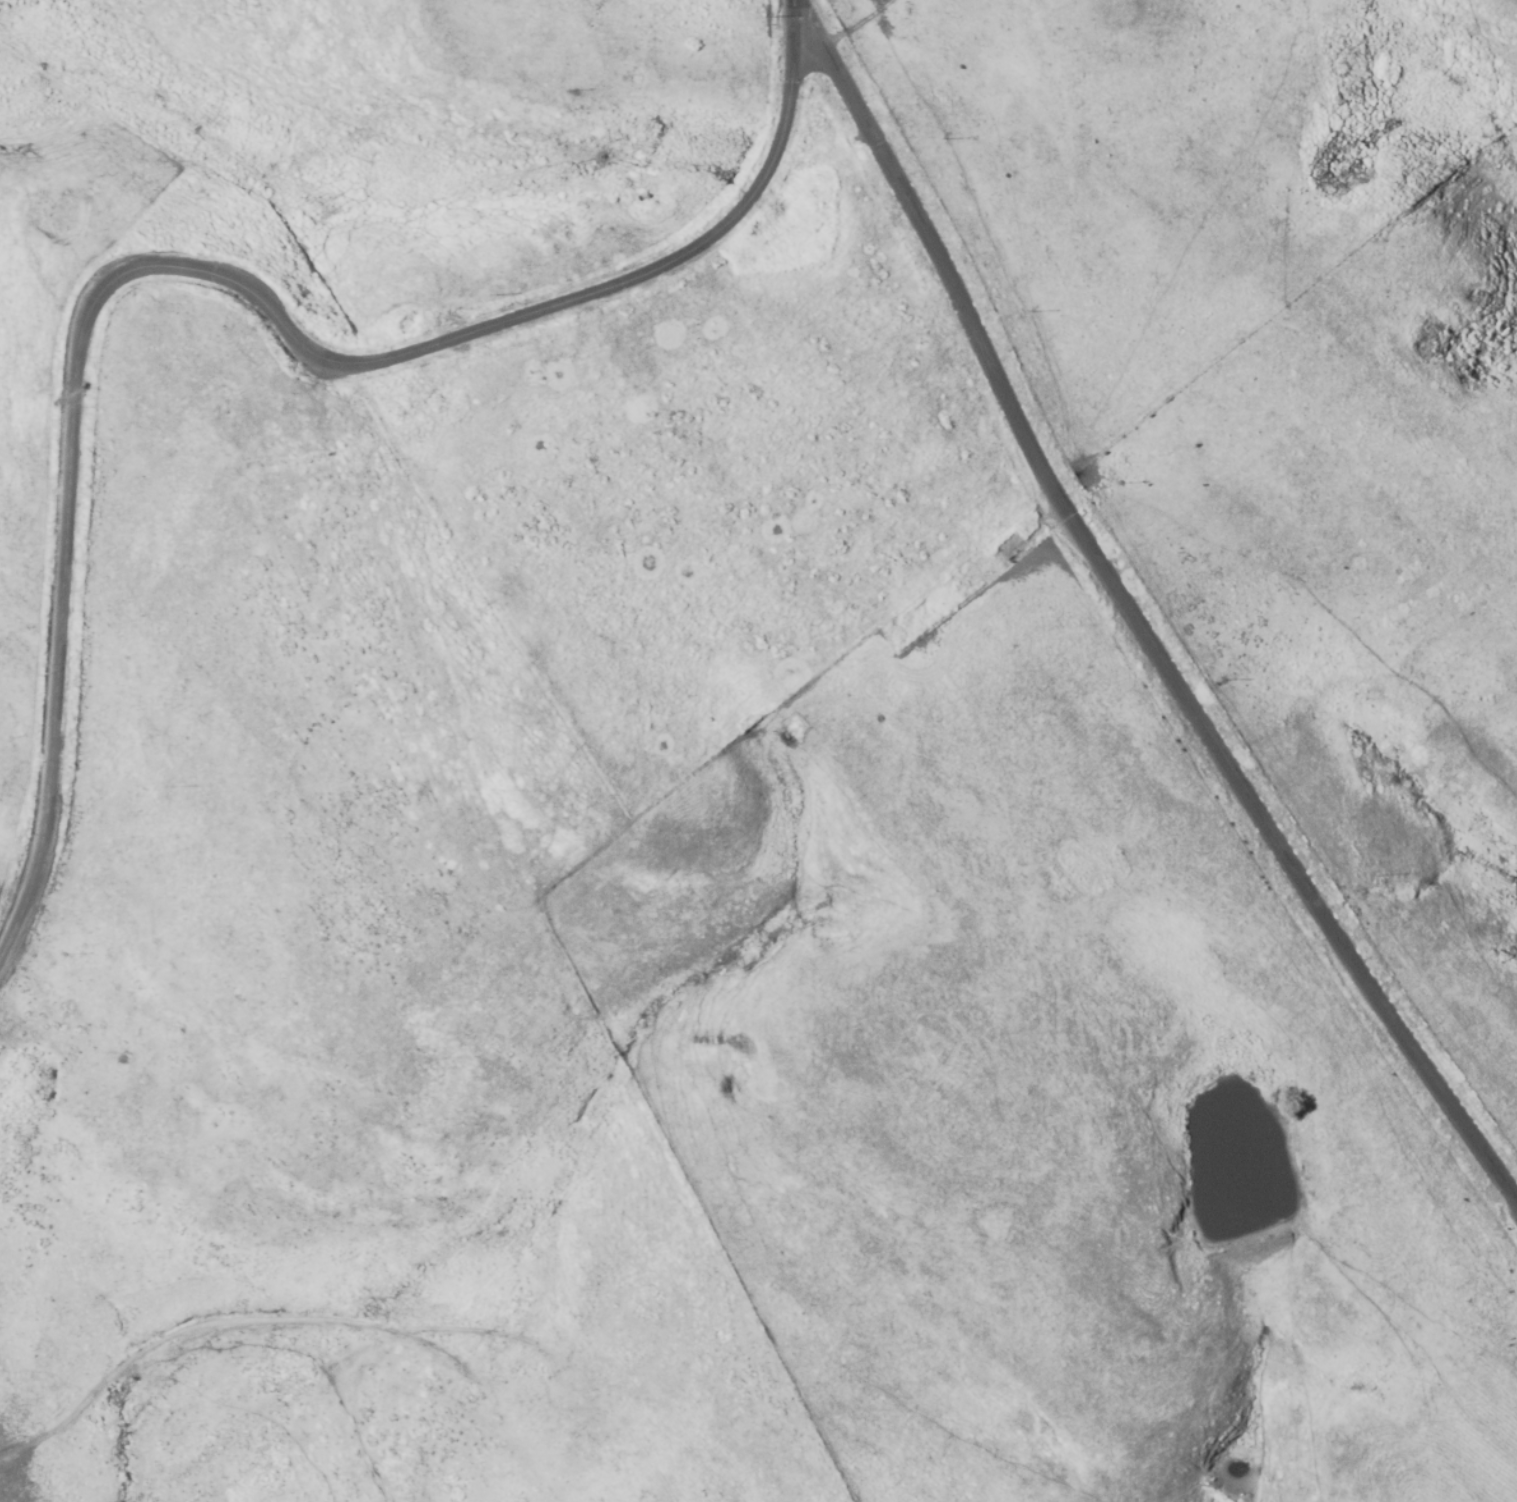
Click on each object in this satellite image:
road: (223, 280)
road: (1135, 625)
road: (227, 1320)

